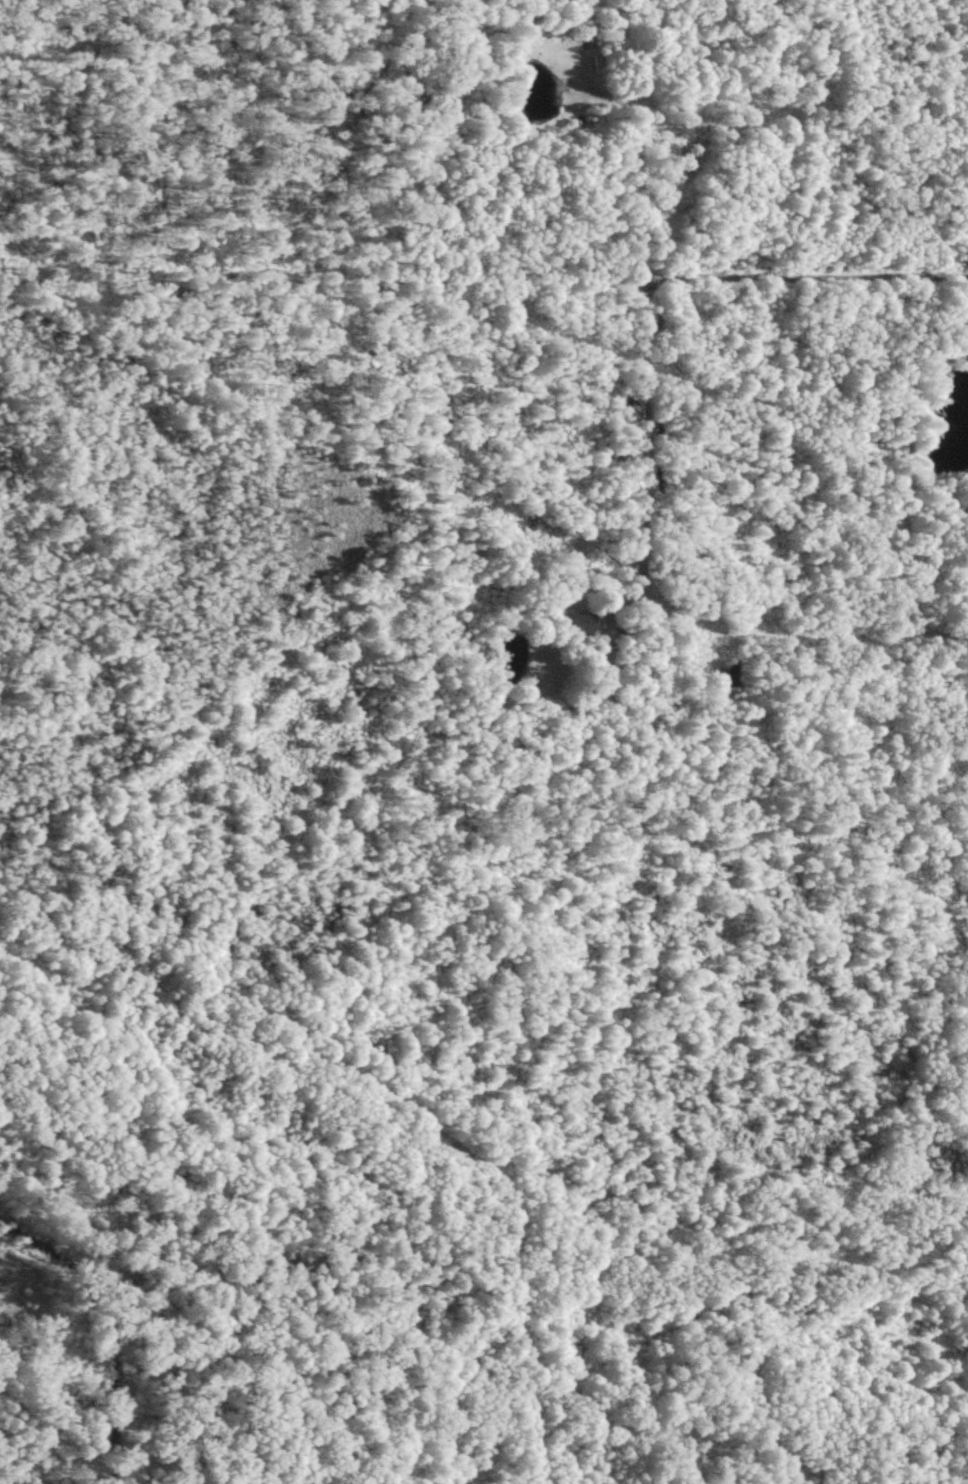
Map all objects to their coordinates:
building: (575, 622)

